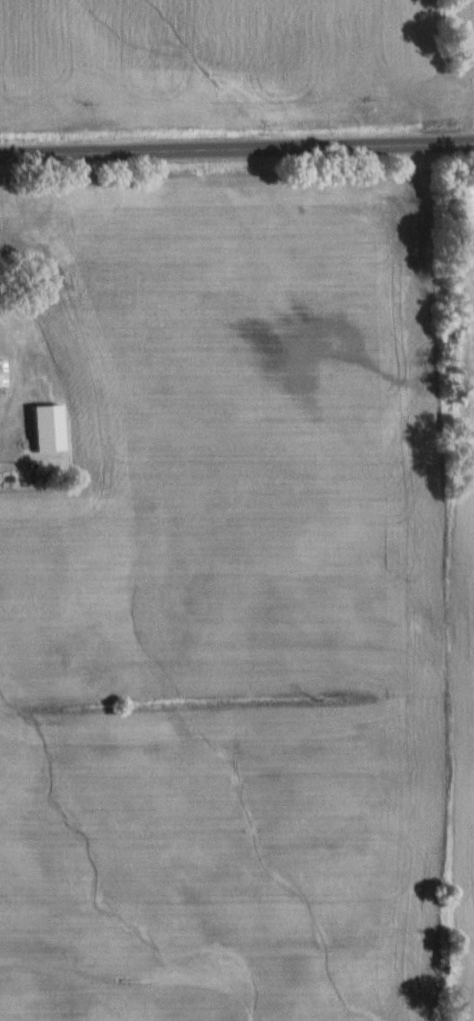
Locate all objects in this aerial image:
road: (237, 150)
building: (0, 388)

